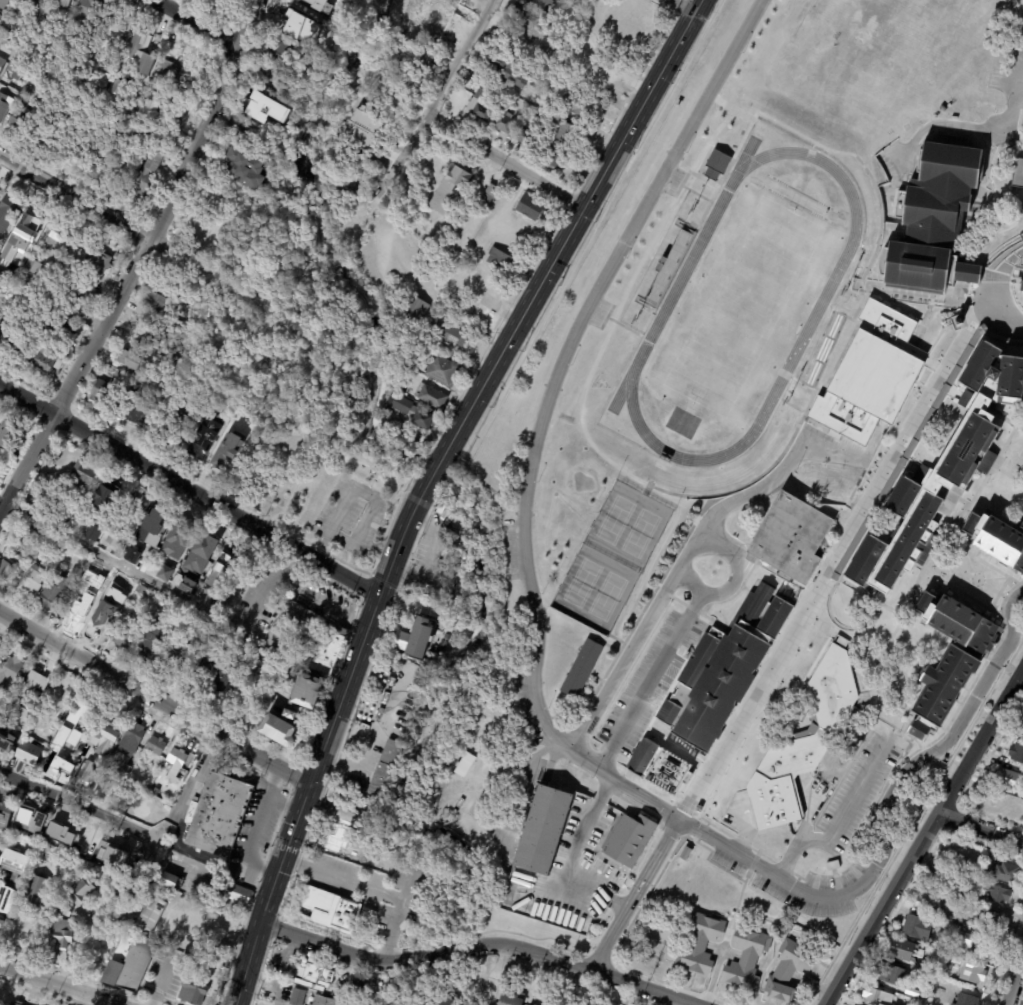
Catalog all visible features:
building: (38, 1)
building: (227, 1)
building: (315, 3)
building: (5, 4)
building: (543, 4)
building: (65, 5)
building: (446, 5)
road: (686, 5)
building: (334, 6)
building: (87, 14)
building: (1, 17)
building: (522, 17)
road: (203, 20)
building: (293, 22)
building: (114, 37)
building: (151, 43)
building: (325, 46)
building: (277, 51)
building: (139, 54)
building: (545, 56)
building: (2, 63)
building: (428, 66)
building: (24, 67)
park: (874, 67)
building: (170, 69)
building: (509, 70)
building: (267, 71)
building: (119, 90)
park: (365, 91)
road: (440, 95)
building: (577, 105)
building: (151, 106)
building: (481, 106)
building: (4, 107)
road: (735, 108)
building: (175, 109)
building: (539, 109)
building: (943, 109)
building: (267, 112)
building: (119, 123)
building: (503, 123)
building: (18, 124)
building: (239, 128)
building: (364, 129)
road: (988, 130)
building: (565, 134)
building: (48, 135)
building: (137, 137)
building: (527, 140)
road: (812, 141)
building: (70, 147)
building: (95, 156)
building: (552, 159)
road: (505, 162)
building: (715, 162)
building: (885, 162)
building: (245, 166)
building: (145, 172)
building: (1017, 173)
building: (342, 180)
building: (449, 193)
road: (76, 198)
building: (487, 200)
building: (529, 209)
building: (9, 212)
building: (933, 215)
road: (569, 230)
building: (59, 238)
road: (166, 249)
road: (141, 261)
building: (500, 261)
building: (35, 266)
building: (436, 267)
building: (966, 273)
building: (92, 278)
building: (463, 280)
building: (42, 282)
building: (1021, 282)
building: (3, 294)
road: (52, 296)
building: (153, 303)
park: (742, 305)
building: (459, 307)
track: (816, 308)
building: (414, 311)
stadium: (733, 311)
building: (957, 322)
building: (66, 327)
building: (448, 332)
building: (10, 334)
building: (149, 335)
park: (283, 344)
building: (25, 351)
building: (50, 362)
building: (127, 362)
building: (977, 367)
building: (443, 370)
road: (325, 376)
building: (871, 376)
building: (1009, 377)
building: (171, 390)
building: (102, 395)
building: (432, 396)
building: (410, 409)
building: (137, 414)
road: (1006, 419)
building: (178, 423)
building: (8, 434)
building: (202, 441)
building: (967, 451)
building: (223, 458)
road: (435, 468)
road: (532, 472)
building: (83, 476)
building: (0, 477)
road: (189, 490)
road: (359, 491)
building: (109, 493)
building: (901, 495)
road: (861, 499)
building: (46, 501)
building: (138, 506)
parking lot: (352, 517)
park: (614, 518)
building: (152, 527)
road: (948, 527)
building: (94, 532)
park: (639, 532)
building: (789, 537)
building: (116, 538)
building: (25, 539)
building: (996, 539)
building: (905, 541)
building: (179, 542)
building: (63, 544)
building: (204, 553)
building: (132, 555)
road: (103, 556)
building: (864, 560)
road: (294, 563)
road: (823, 571)
building: (9, 572)
building: (220, 572)
road: (738, 572)
building: (167, 573)
road: (933, 576)
road: (976, 580)
road: (977, 580)
road: (977, 580)
building: (34, 582)
park: (581, 582)
road: (692, 583)
building: (190, 585)
road: (260, 586)
building: (143, 591)
building: (54, 593)
road: (997, 594)
building: (206, 595)
park: (606, 595)
road: (983, 595)
road: (325, 600)
building: (81, 606)
building: (168, 606)
building: (189, 616)
building: (105, 620)
road: (861, 625)
building: (319, 634)
building: (127, 636)
building: (213, 638)
building: (417, 641)
building: (155, 642)
building: (238, 643)
building: (0, 648)
road: (987, 656)
building: (945, 660)
building: (173, 664)
building: (734, 667)
building: (583, 669)
building: (205, 670)
building: (11, 674)
building: (227, 679)
building: (42, 682)
building: (834, 685)
building: (309, 691)
building: (62, 697)
road: (155, 699)
road: (965, 705)
building: (1, 711)
building: (19, 711)
building: (297, 714)
building: (29, 720)
building: (56, 724)
building: (75, 726)
building: (277, 728)
building: (106, 737)
road: (327, 738)
building: (7, 741)
building: (133, 741)
building: (157, 746)
building: (28, 751)
building: (1016, 753)
building: (69, 755)
building: (642, 756)
building: (85, 759)
road: (589, 761)
building: (177, 763)
road: (356, 764)
building: (464, 765)
building: (386, 770)
building: (71, 771)
building: (124, 771)
building: (665, 773)
building: (1007, 779)
building: (105, 789)
building: (1017, 801)
building: (772, 802)
road: (284, 803)
road: (78, 806)
building: (698, 810)
building: (4, 812)
building: (220, 815)
building: (32, 819)
road: (914, 821)
road: (835, 825)
road: (256, 828)
road: (980, 828)
building: (541, 830)
building: (57, 832)
road: (923, 836)
road: (721, 839)
building: (338, 840)
building: (627, 844)
building: (76, 846)
building: (0, 849)
building: (685, 854)
building: (958, 857)
building: (380, 866)
building: (833, 866)
building: (11, 873)
building: (1006, 873)
building: (943, 877)
building: (167, 880)
road: (246, 882)
building: (629, 882)
building: (119, 888)
road: (369, 889)
building: (34, 891)
building: (79, 892)
building: (959, 893)
building: (238, 894)
road: (636, 894)
building: (998, 894)
building: (978, 900)
building: (933, 902)
building: (63, 910)
building: (333, 910)
building: (206, 911)
building: (151, 915)
building: (949, 920)
building: (992, 921)
building: (188, 924)
building: (226, 927)
building: (918, 928)
building: (97, 933)
building: (61, 934)
building: (940, 936)
building: (964, 942)
building: (903, 950)
road: (343, 954)
road: (436, 958)
building: (740, 958)
building: (129, 964)
road: (568, 964)
building: (927, 970)
building: (972, 972)
building: (889, 974)
building: (313, 976)
road: (1014, 979)
road: (163, 982)
building: (360, 982)
road: (58, 984)
building: (192, 992)
building: (488, 995)
building: (297, 997)
building: (877, 997)
building: (511, 998)
building: (964, 999)
building: (326, 1001)
building: (442, 1001)
building: (15, 1003)
building: (530, 1004)

